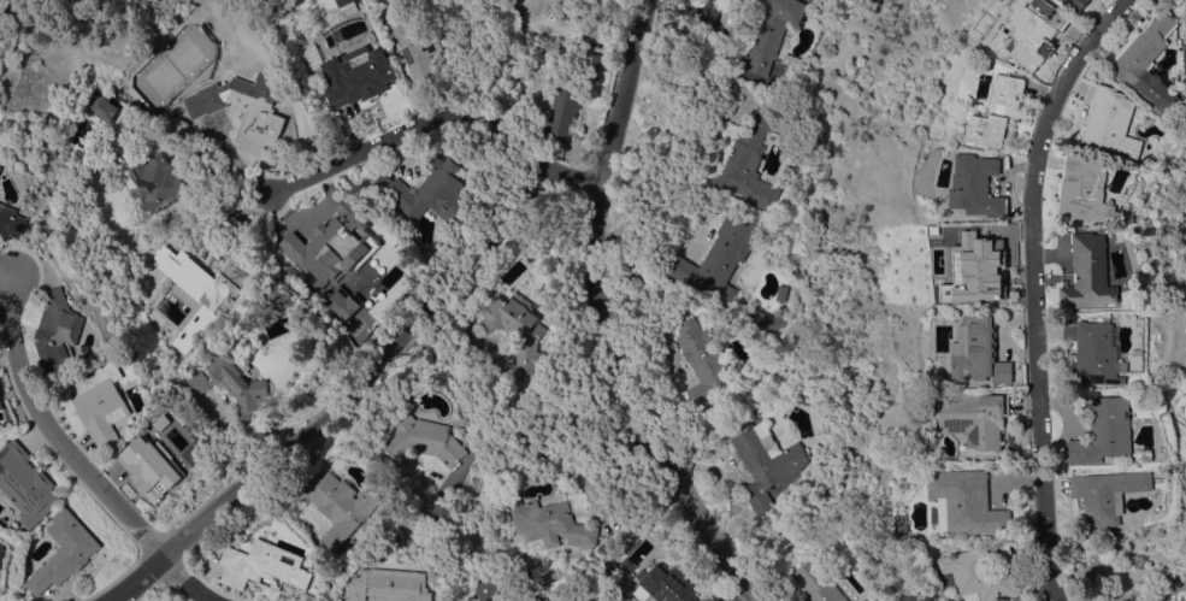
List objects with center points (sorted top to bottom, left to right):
building: (557, 0)
building: (342, 1)
building: (509, 2)
building: (1085, 2)
building: (13, 6)
building: (527, 8)
building: (0, 20)
building: (771, 33)
building: (1043, 33)
building: (570, 40)
building: (550, 43)
building: (417, 47)
building: (1155, 60)
building: (589, 64)
building: (790, 66)
road: (695, 69)
building: (350, 86)
building: (523, 87)
building: (246, 106)
building: (101, 107)
building: (562, 111)
building: (1007, 112)
building: (1120, 122)
road: (399, 130)
building: (749, 164)
building: (0, 166)
building: (157, 179)
building: (985, 184)
building: (1092, 188)
building: (1167, 188)
building: (429, 190)
building: (11, 222)
building: (326, 248)
building: (720, 258)
building: (992, 266)
building: (1097, 273)
building: (205, 275)
road: (1044, 284)
building: (779, 291)
building: (279, 296)
building: (338, 302)
road: (603, 316)
building: (765, 318)
building: (200, 325)
building: (517, 328)
building: (785, 328)
building: (59, 331)
building: (986, 350)
building: (1103, 352)
building: (703, 361)
road: (364, 379)
building: (232, 382)
road: (467, 394)
building: (101, 401)
building: (0, 403)
building: (983, 418)
building: (1110, 430)
building: (424, 440)
building: (155, 454)
building: (1149, 454)
road: (75, 460)
building: (766, 464)
building: (25, 483)
building: (1111, 495)
building: (972, 502)
building: (340, 505)
building: (442, 512)
building: (551, 524)
building: (64, 550)
building: (627, 564)
building: (262, 566)
building: (985, 576)
building: (541, 579)
building: (819, 583)
building: (390, 585)
building: (663, 585)
building: (485, 589)
building: (701, 600)

